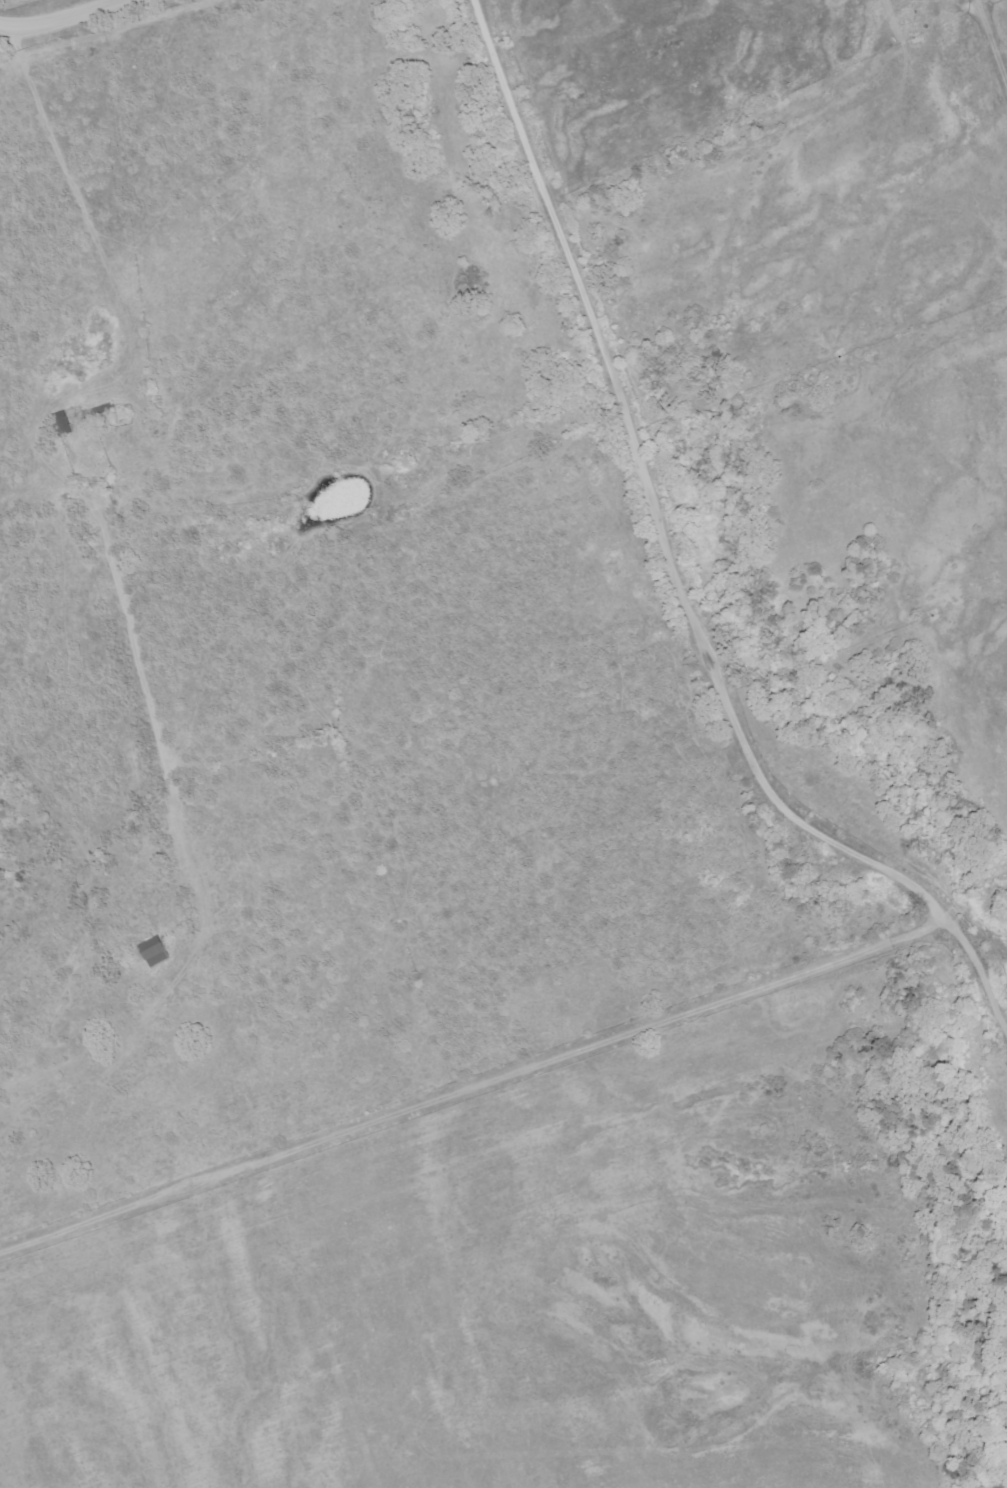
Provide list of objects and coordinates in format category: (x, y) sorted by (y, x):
road: (60, 20)
road: (671, 560)
building: (154, 952)

